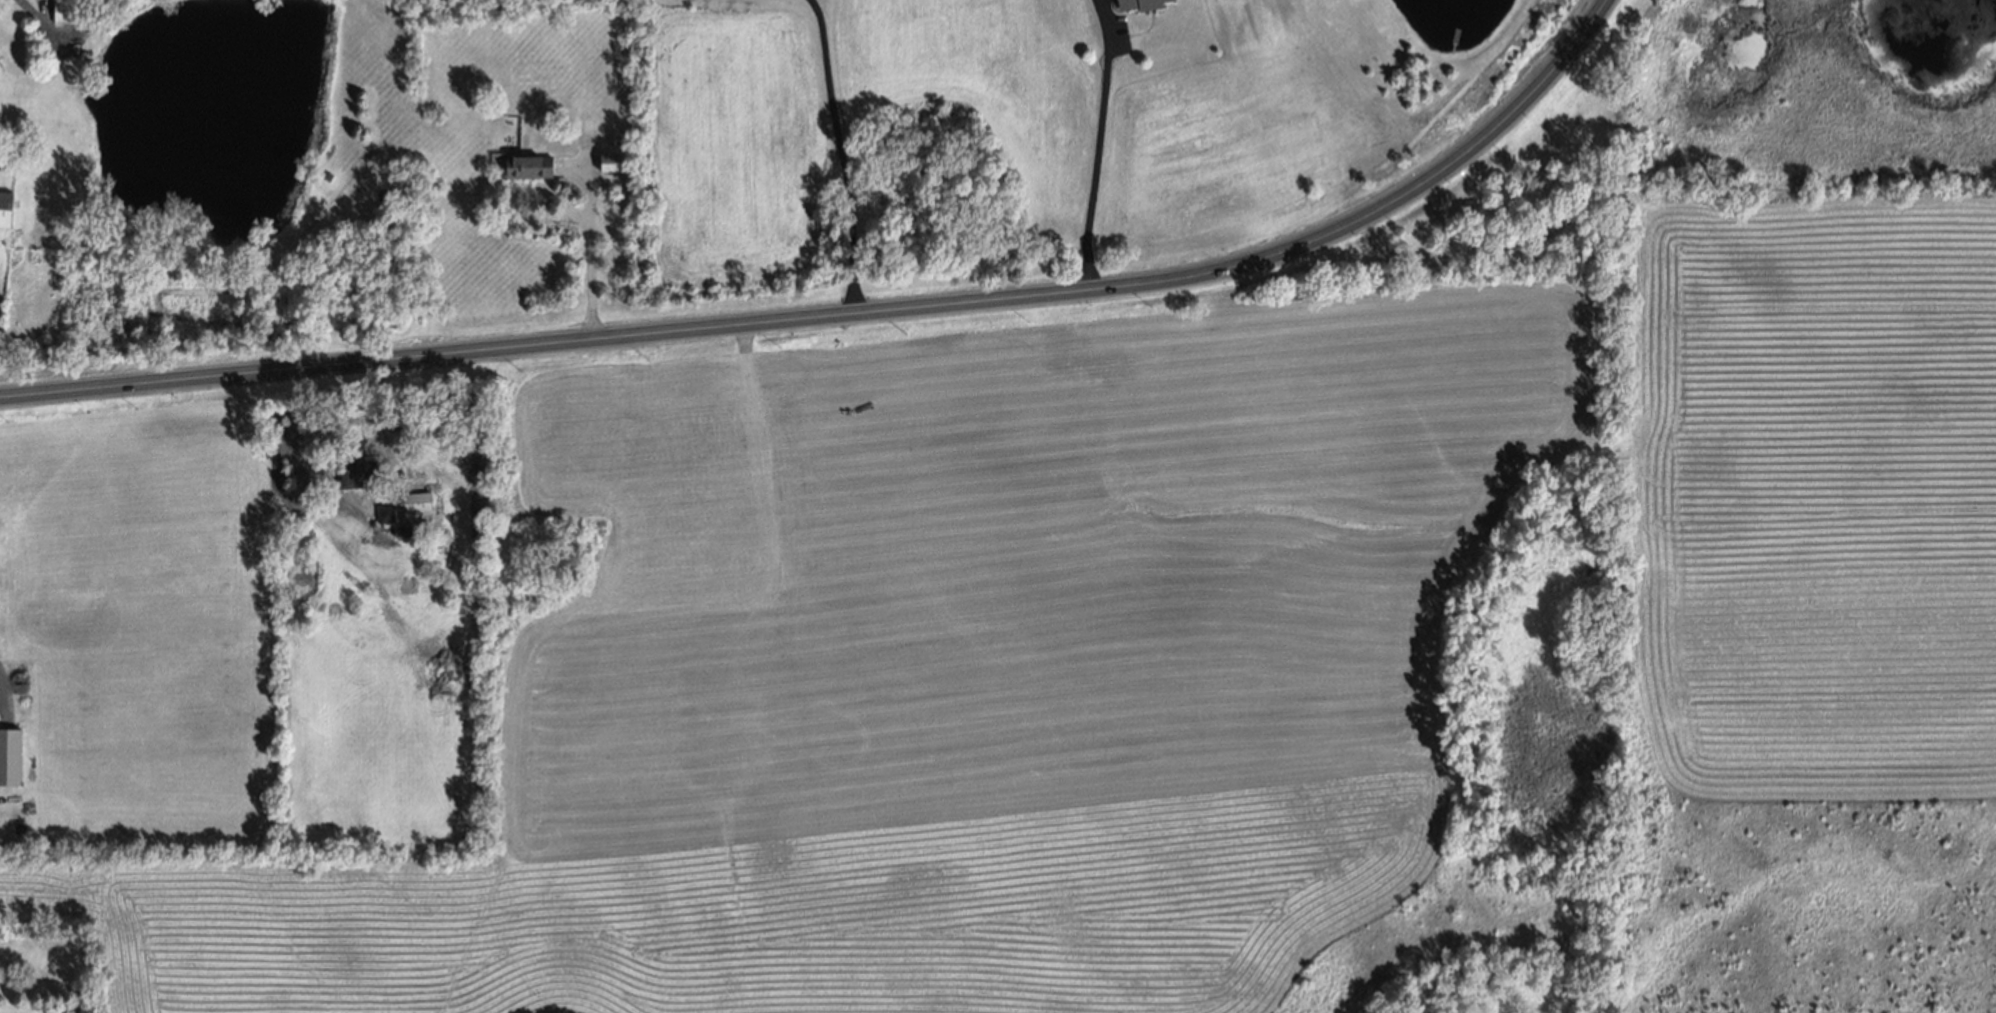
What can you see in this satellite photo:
building: (1140, 4)
building: (64, 11)
road: (1095, 144)
road: (839, 153)
building: (610, 162)
building: (529, 167)
building: (5, 209)
road: (585, 243)
road: (852, 311)
building: (364, 469)
building: (418, 502)
building: (386, 514)
building: (10, 757)

